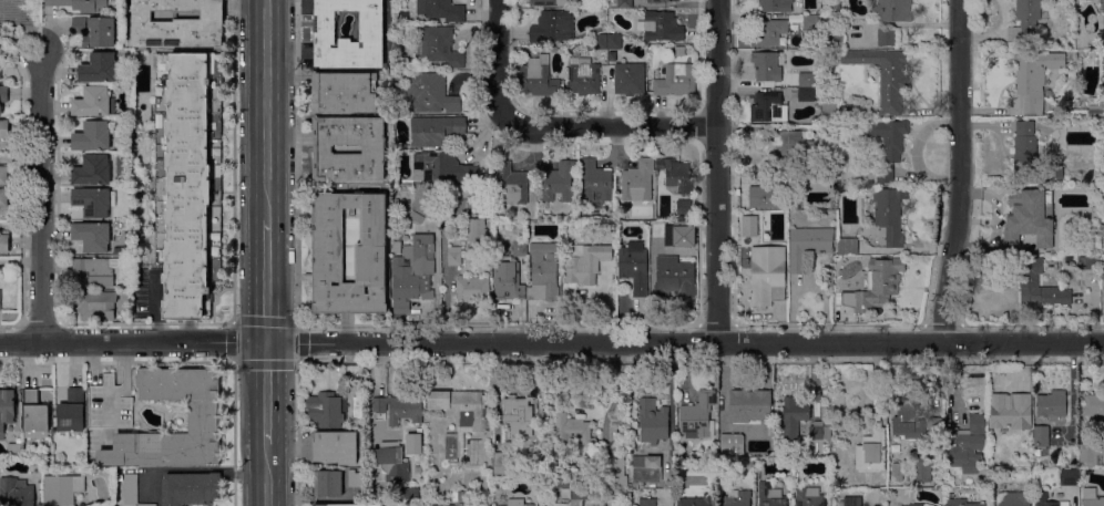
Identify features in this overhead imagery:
building: (661, 1)
building: (548, 2)
building: (624, 3)
building: (79, 4)
building: (775, 6)
building: (1101, 6)
building: (836, 8)
building: (440, 10)
building: (891, 11)
building: (402, 17)
building: (1026, 21)
building: (809, 22)
building: (177, 23)
building: (660, 27)
building: (552, 28)
building: (95, 31)
building: (1103, 32)
building: (769, 33)
building: (370, 35)
building: (837, 37)
building: (886, 38)
building: (600, 43)
building: (614, 43)
building: (439, 48)
road: (497, 62)
building: (767, 66)
building: (99, 69)
building: (883, 75)
building: (538, 78)
building: (583, 78)
building: (628, 79)
building: (676, 80)
building: (806, 80)
building: (1032, 81)
building: (343, 92)
building: (427, 94)
building: (807, 94)
building: (2, 96)
building: (93, 102)
building: (768, 107)
road: (266, 110)
building: (828, 110)
building: (1095, 110)
road: (613, 125)
building: (3, 128)
building: (435, 131)
building: (92, 136)
building: (886, 136)
building: (372, 148)
building: (803, 148)
building: (1024, 153)
building: (441, 168)
building: (91, 171)
road: (717, 172)
road: (959, 172)
building: (879, 174)
building: (3, 176)
building: (676, 176)
building: (188, 179)
building: (594, 182)
building: (637, 182)
building: (558, 183)
building: (822, 184)
building: (510, 185)
building: (790, 185)
building: (841, 190)
building: (1102, 190)
building: (466, 193)
building: (759, 196)
road: (40, 197)
building: (3, 198)
building: (93, 202)
building: (425, 203)
building: (684, 208)
building: (889, 214)
building: (416, 217)
building: (1029, 217)
building: (749, 226)
building: (658, 229)
building: (476, 233)
building: (684, 233)
building: (92, 236)
building: (4, 244)
building: (808, 246)
building: (847, 246)
building: (519, 249)
building: (453, 256)
building: (478, 257)
building: (1069, 261)
building: (1091, 261)
building: (370, 264)
building: (584, 264)
building: (1050, 266)
building: (412, 268)
building: (633, 268)
building: (543, 269)
building: (95, 271)
building: (766, 276)
building: (1103, 277)
building: (507, 278)
building: (674, 278)
building: (1029, 280)
road: (266, 282)
building: (875, 285)
building: (471, 288)
building: (94, 306)
building: (398, 318)
road: (133, 344)
road: (685, 344)
road: (232, 361)
road: (267, 395)
building: (1052, 404)
building: (1093, 404)
building: (109, 405)
building: (748, 405)
building: (7, 407)
building: (396, 409)
building: (906, 409)
building: (324, 410)
building: (71, 411)
building: (1009, 413)
building: (34, 415)
building: (460, 415)
building: (203, 416)
building: (518, 416)
building: (697, 416)
building: (793, 416)
building: (652, 422)
building: (931, 425)
building: (573, 431)
building: (816, 433)
road: (233, 434)
building: (1041, 436)
building: (730, 440)
building: (411, 443)
building: (965, 445)
building: (334, 447)
building: (871, 447)
building: (13, 448)
building: (1090, 454)
building: (898, 461)
building: (1056, 461)
building: (48, 464)
building: (391, 464)
building: (74, 465)
building: (500, 465)
road: (193, 468)
building: (645, 468)
building: (921, 468)
road: (267, 475)
building: (619, 476)
building: (1069, 477)
building: (354, 478)
building: (327, 484)
building: (572, 486)
building: (188, 488)
building: (61, 489)
building: (131, 489)
building: (408, 490)
building: (14, 493)
building: (769, 495)
building: (461, 496)
building: (1041, 496)
building: (808, 497)
building: (1090, 497)
building: (736, 498)
building: (1014, 499)
building: (697, 500)
building: (646, 502)
building: (851, 502)
building: (512, 503)
building: (960, 503)
building: (476, 504)
building: (346, 505)
building: (454, 505)
building: (495, 505)
building: (916, 505)

